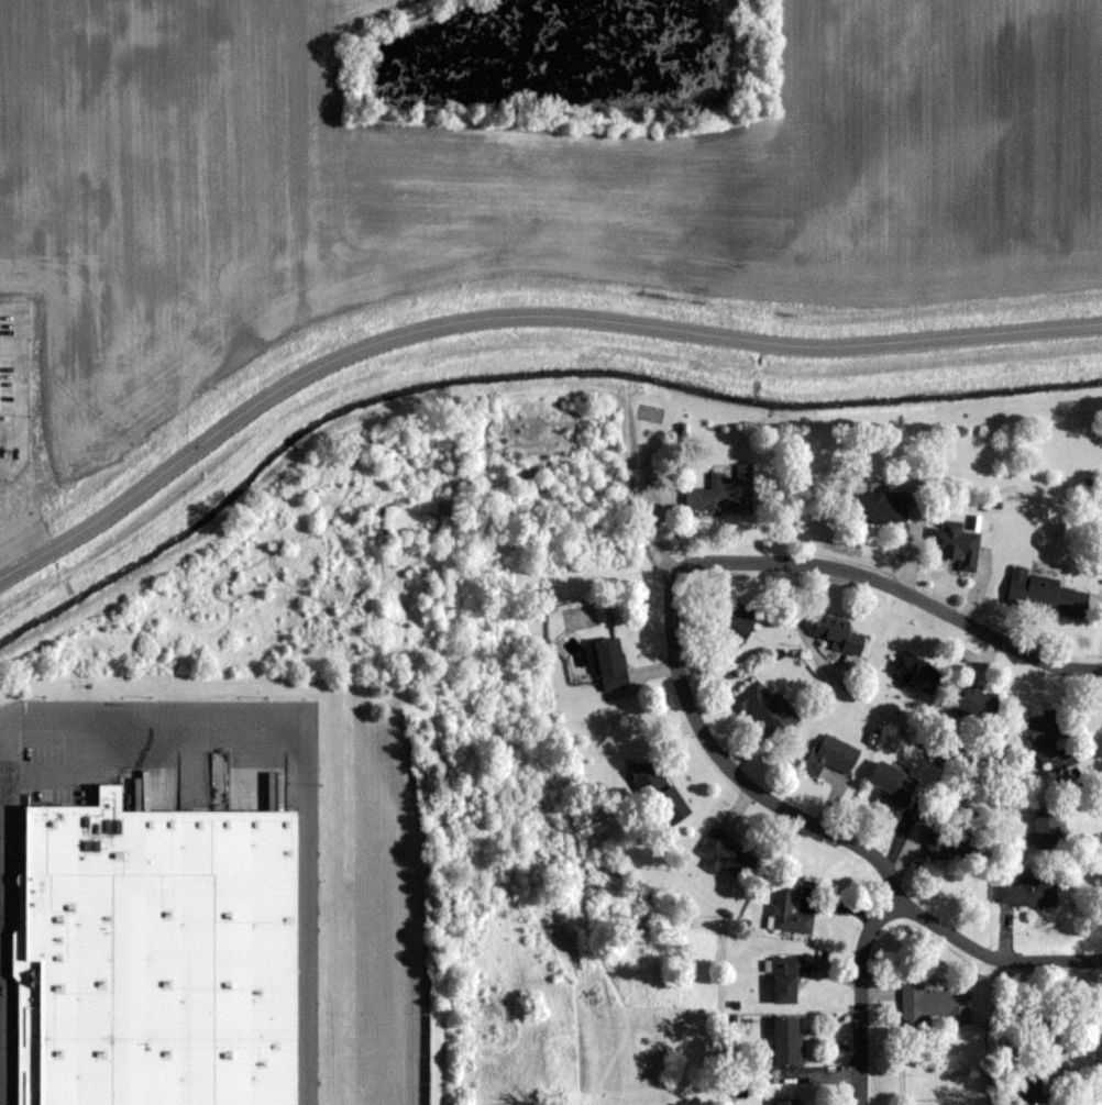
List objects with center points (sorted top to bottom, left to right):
road: (516, 325)
building: (725, 491)
building: (880, 507)
building: (956, 544)
road: (893, 588)
building: (1049, 594)
building: (738, 630)
building: (840, 638)
building: (611, 664)
building: (918, 673)
building: (979, 704)
building: (767, 709)
building: (1050, 740)
building: (831, 755)
road: (731, 773)
road: (295, 780)
building: (892, 782)
building: (1048, 827)
building: (958, 838)
road: (0, 846)
building: (727, 855)
building: (1029, 892)
building: (789, 909)
road: (993, 957)
building: (154, 958)
building: (785, 979)
road: (861, 997)
building: (934, 1003)
building: (787, 1040)
building: (786, 1101)

